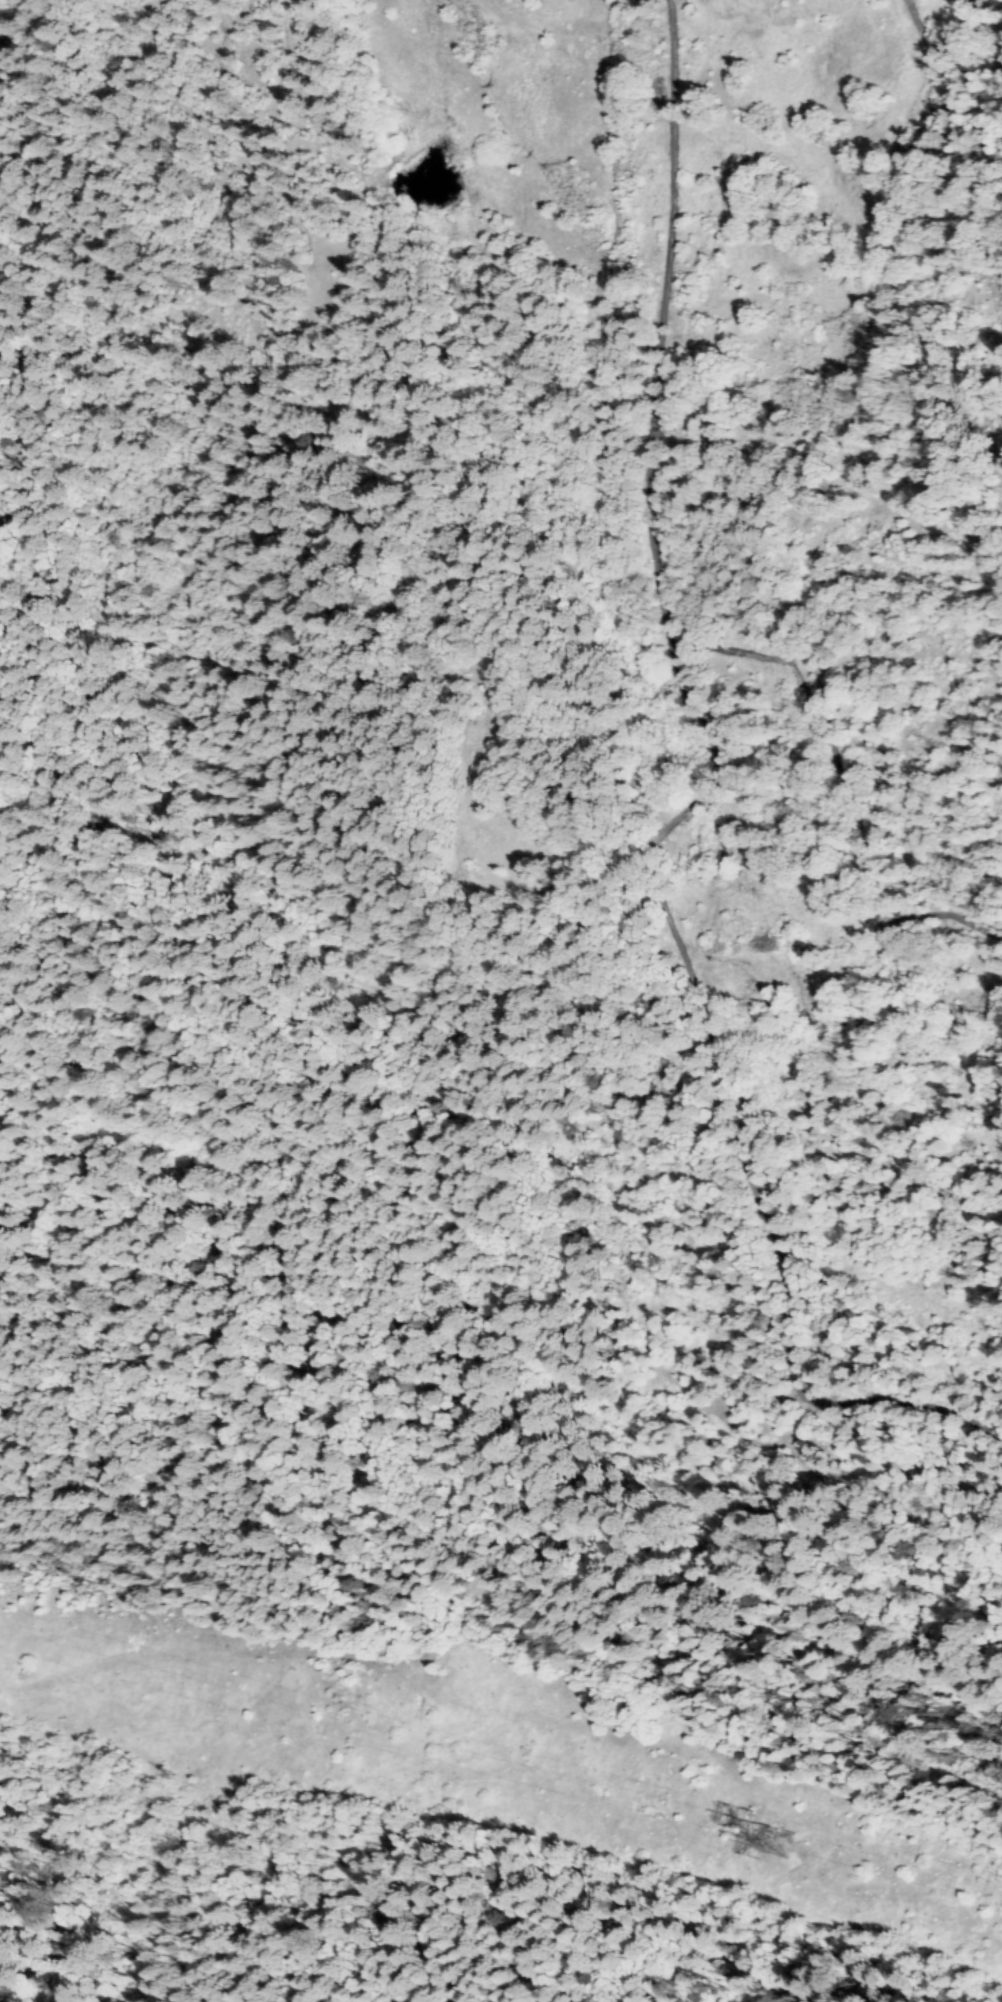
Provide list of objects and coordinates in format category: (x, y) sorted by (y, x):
power tower: (785, 1843)

